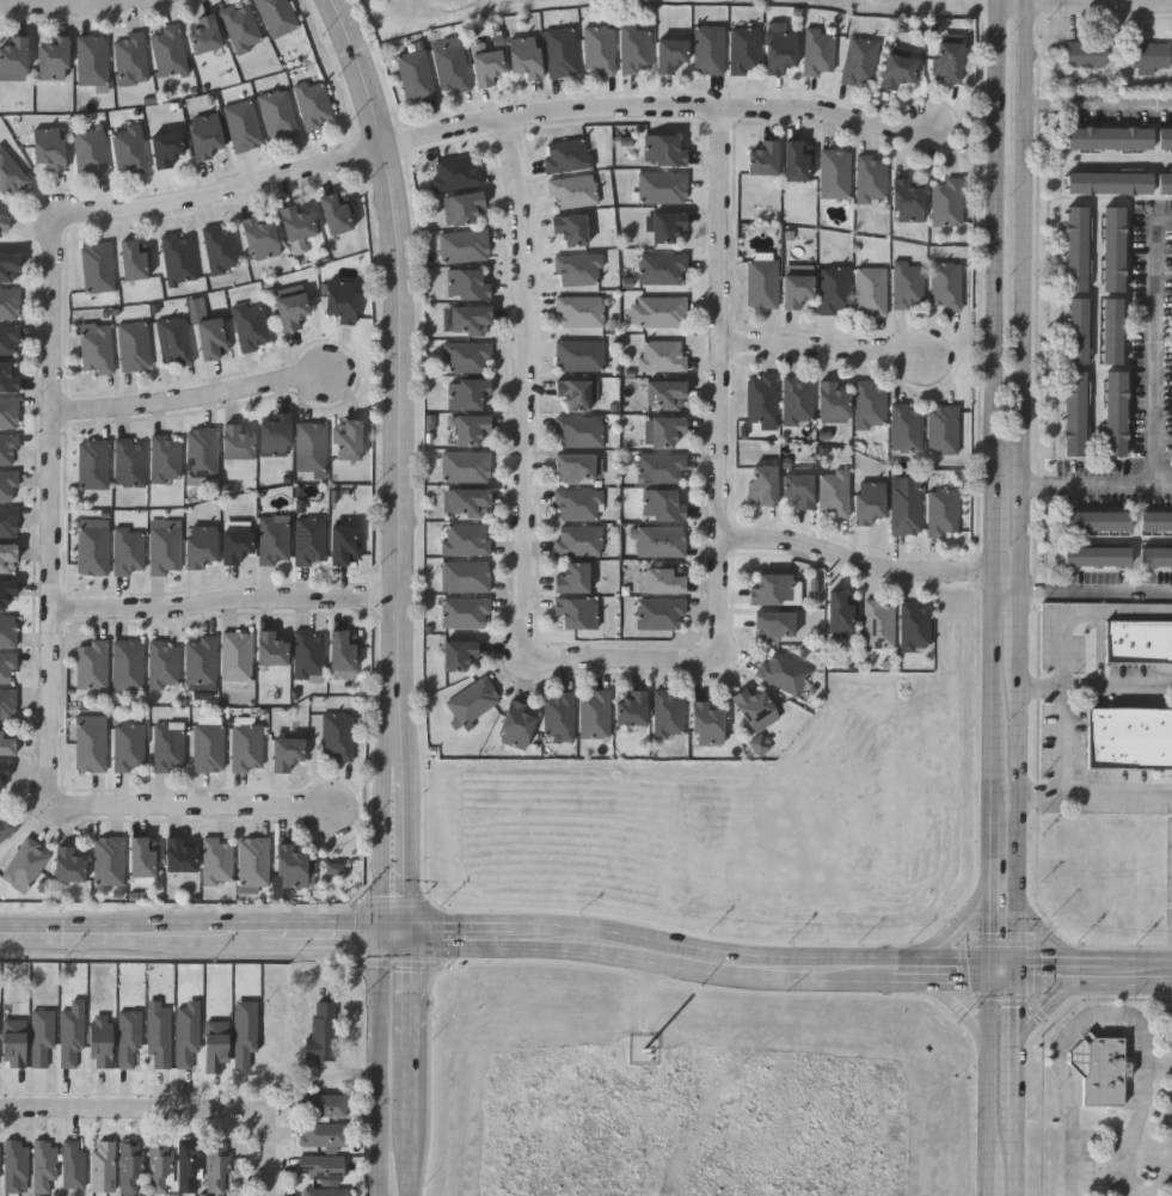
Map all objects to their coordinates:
road: (994, 2)
road: (1024, 2)
road: (1156, 4)
road: (75, 6)
road: (1008, 6)
road: (1097, 6)
building: (276, 17)
building: (240, 26)
building: (203, 35)
building: (633, 49)
building: (708, 49)
building: (743, 49)
building: (168, 50)
building: (597, 50)
building: (778, 51)
building: (559, 53)
building: (818, 54)
building: (1149, 54)
building: (13, 55)
building: (669, 55)
building: (523, 56)
building: (1086, 56)
building: (129, 57)
building: (51, 59)
building: (92, 60)
building: (858, 62)
building: (946, 62)
building: (485, 67)
building: (449, 68)
building: (895, 70)
building: (415, 75)
building: (313, 104)
road: (1098, 105)
building: (277, 114)
road: (492, 117)
building: (243, 125)
building: (204, 135)
building: (1110, 136)
building: (1165, 137)
building: (48, 147)
building: (165, 147)
building: (128, 148)
building: (662, 151)
building: (90, 152)
building: (566, 155)
building: (762, 158)
building: (796, 160)
building: (454, 173)
building: (834, 173)
building: (8, 174)
building: (870, 177)
building: (1109, 182)
building: (1165, 183)
building: (662, 188)
building: (572, 191)
building: (945, 202)
building: (907, 203)
building: (464, 208)
building: (333, 214)
building: (4, 223)
building: (295, 223)
building: (665, 226)
building: (569, 229)
building: (259, 239)
building: (464, 246)
building: (1075, 247)
building: (1112, 247)
building: (219, 249)
road: (996, 254)
building: (178, 258)
building: (133, 259)
building: (8, 266)
building: (97, 268)
building: (577, 269)
building: (661, 269)
building: (466, 284)
building: (761, 284)
building: (907, 286)
building: (944, 286)
building: (833, 289)
road: (1020, 289)
building: (794, 292)
building: (870, 292)
building: (339, 301)
building: (8, 305)
building: (578, 311)
building: (290, 312)
building: (657, 312)
building: (470, 321)
building: (250, 326)
building: (1076, 329)
building: (1111, 329)
building: (210, 338)
building: (8, 339)
building: (173, 342)
road: (832, 345)
road: (1153, 345)
building: (133, 346)
building: (96, 350)
building: (578, 354)
building: (662, 356)
building: (466, 357)
building: (7, 379)
road: (729, 381)
road: (526, 382)
building: (466, 392)
building: (572, 394)
building: (664, 394)
road: (194, 395)
building: (761, 398)
building: (797, 400)
building: (832, 401)
building: (869, 405)
building: (1073, 411)
building: (1115, 411)
building: (8, 412)
building: (470, 429)
building: (904, 429)
building: (578, 430)
building: (664, 430)
building: (941, 430)
building: (274, 436)
building: (346, 440)
building: (235, 443)
building: (309, 446)
building: (7, 449)
building: (201, 453)
building: (165, 459)
road: (399, 459)
building: (128, 464)
building: (92, 465)
building: (466, 466)
building: (661, 467)
building: (576, 468)
building: (7, 485)
building: (761, 485)
road: (1094, 486)
building: (797, 489)
building: (833, 493)
building: (465, 502)
building: (867, 502)
building: (577, 504)
building: (661, 505)
road: (50, 510)
building: (904, 510)
building: (941, 513)
building: (1097, 519)
building: (1156, 520)
building: (8, 521)
road: (999, 538)
building: (272, 540)
building: (308, 540)
building: (466, 540)
building: (577, 541)
building: (659, 541)
building: (198, 546)
building: (234, 546)
building: (344, 546)
building: (92, 547)
building: (164, 547)
building: (128, 551)
building: (1097, 556)
building: (1156, 556)
building: (7, 557)
road: (864, 559)
road: (1008, 572)
building: (465, 577)
building: (571, 578)
building: (661, 581)
building: (772, 590)
building: (6, 591)
road: (223, 594)
road: (1096, 594)
building: (465, 613)
building: (575, 613)
building: (659, 614)
road: (1018, 614)
building: (839, 615)
building: (878, 624)
building: (772, 626)
building: (914, 627)
building: (7, 631)
building: (1137, 640)
building: (270, 649)
road: (1066, 650)
building: (343, 651)
building: (307, 654)
road: (626, 654)
building: (456, 655)
building: (235, 656)
building: (200, 660)
building: (164, 663)
building: (90, 664)
building: (127, 664)
building: (7, 667)
building: (781, 673)
road: (996, 683)
road: (1042, 687)
road: (1118, 688)
building: (472, 700)
building: (7, 703)
building: (631, 710)
building: (754, 710)
building: (668, 713)
building: (594, 714)
building: (558, 717)
building: (705, 724)
building: (515, 725)
building: (336, 736)
building: (1130, 736)
building: (6, 742)
building: (90, 743)
building: (761, 744)
building: (128, 747)
building: (167, 748)
building: (246, 748)
building: (207, 749)
building: (284, 753)
building: (4, 771)
road: (1082, 793)
road: (195, 804)
road: (1015, 808)
building: (6, 827)
road: (993, 833)
building: (177, 857)
building: (142, 859)
building: (108, 861)
building: (216, 861)
building: (252, 861)
building: (24, 865)
building: (67, 866)
building: (288, 867)
building: (335, 869)
road: (990, 921)
road: (959, 925)
traffic signals: (400, 931)
road: (1048, 933)
road: (496, 936)
traffic signals: (1019, 958)
road: (1094, 961)
road: (1005, 964)
traffic signals: (990, 971)
road: (1019, 973)
road: (1005, 979)
traffic signals: (1019, 987)
road: (417, 988)
road: (1096, 988)
road: (951, 999)
road: (1044, 1011)
road: (1106, 1016)
parking lot: (1170, 1030)
building: (323, 1031)
building: (73, 1034)
building: (189, 1034)
building: (246, 1034)
building: (160, 1035)
building: (43, 1037)
building: (129, 1039)
building: (102, 1041)
building: (16, 1044)
building: (217, 1047)
road: (1017, 1048)
road: (383, 1059)
road: (990, 1067)
road: (1159, 1069)
building: (1100, 1071)
building: (323, 1105)
road: (135, 1109)
road: (417, 1126)
building: (321, 1134)
parking lot: (1170, 1137)
road: (1015, 1153)
road: (270, 1158)
building: (0, 1163)
building: (73, 1164)
building: (43, 1165)
building: (16, 1166)
building: (113, 1166)
building: (158, 1166)
building: (188, 1167)
building: (217, 1167)
building: (320, 1167)
road: (989, 1179)
building: (323, 1192)

